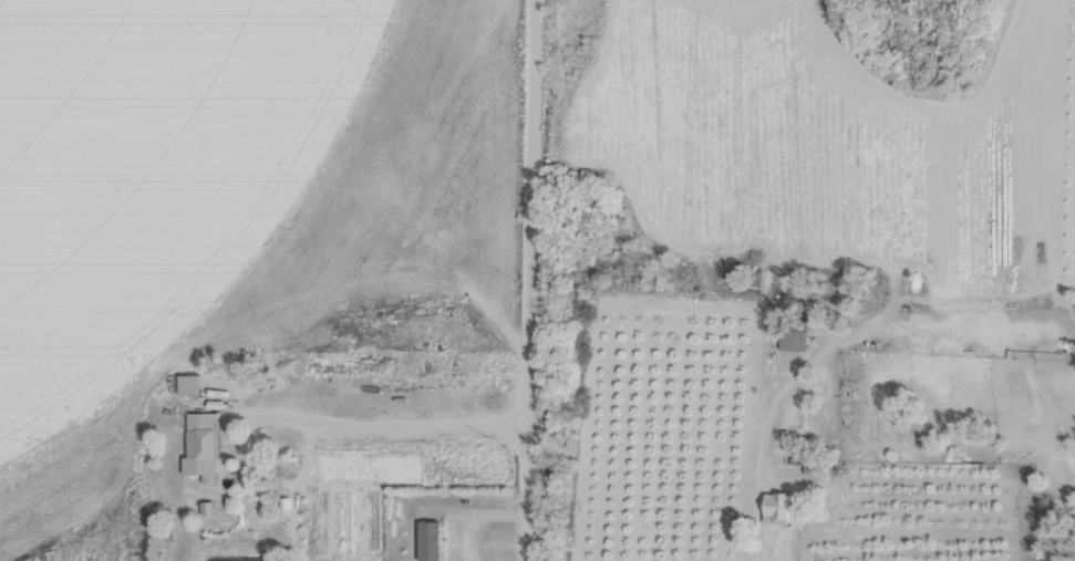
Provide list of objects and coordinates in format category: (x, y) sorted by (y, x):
road: (535, 280)
crop: (537, 280)
building: (797, 334)
building: (193, 385)
building: (206, 436)
building: (779, 508)
building: (433, 540)

